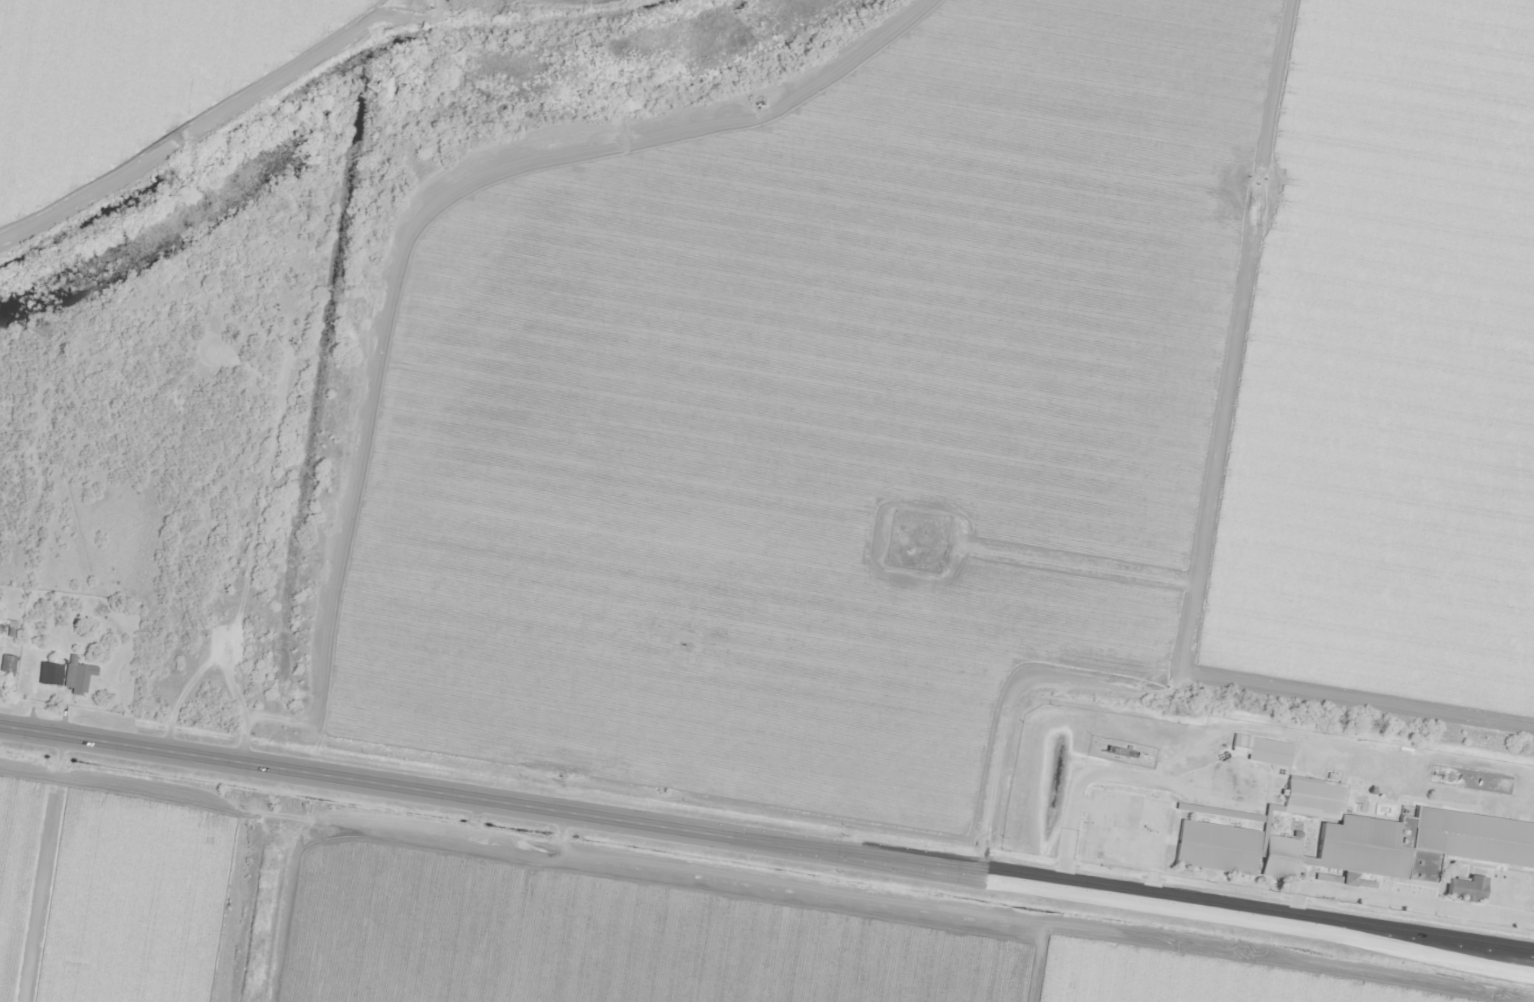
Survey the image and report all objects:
road: (712, 116)
road: (324, 355)
road: (32, 729)
building: (1267, 747)
building: (1350, 834)
road: (799, 845)

